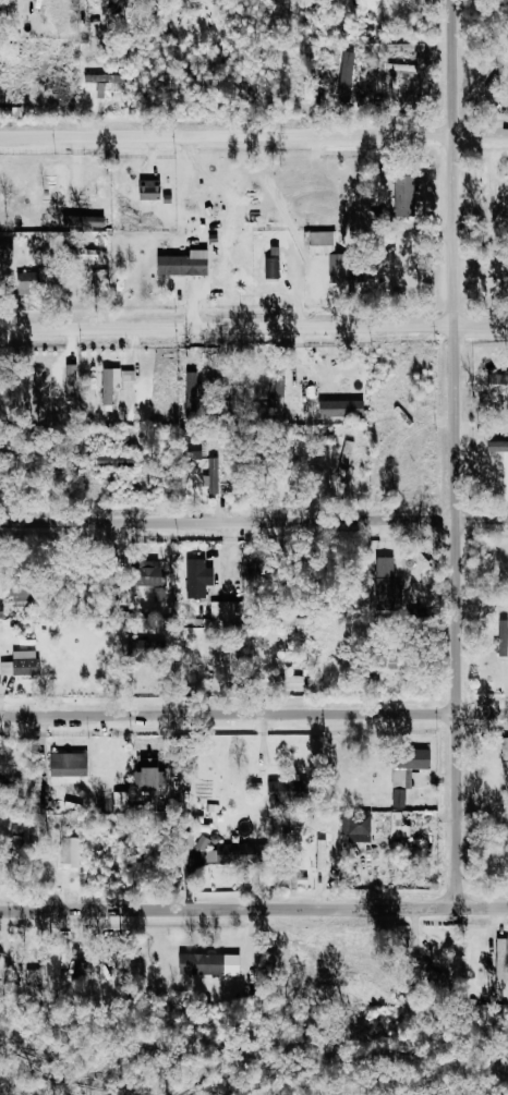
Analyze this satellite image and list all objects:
building: (408, 47)
building: (403, 68)
building: (352, 76)
building: (110, 84)
road: (253, 133)
building: (153, 190)
building: (87, 220)
building: (324, 243)
building: (189, 264)
building: (276, 264)
building: (358, 268)
road: (253, 325)
building: (117, 382)
building: (499, 385)
building: (346, 409)
building: (499, 447)
building: (199, 450)
road: (455, 453)
building: (349, 459)
building: (119, 460)
building: (216, 475)
road: (253, 519)
building: (157, 573)
building: (201, 576)
building: (389, 582)
building: (161, 594)
building: (22, 600)
building: (3, 609)
building: (230, 609)
building: (505, 637)
building: (140, 646)
building: (25, 662)
road: (253, 714)
building: (507, 762)
building: (73, 766)
building: (411, 772)
building: (152, 777)
building: (279, 790)
building: (403, 825)
building: (361, 827)
building: (231, 853)
building: (325, 855)
road: (253, 909)
building: (504, 963)
building: (211, 964)
building: (86, 965)
building: (37, 975)
building: (0, 984)

